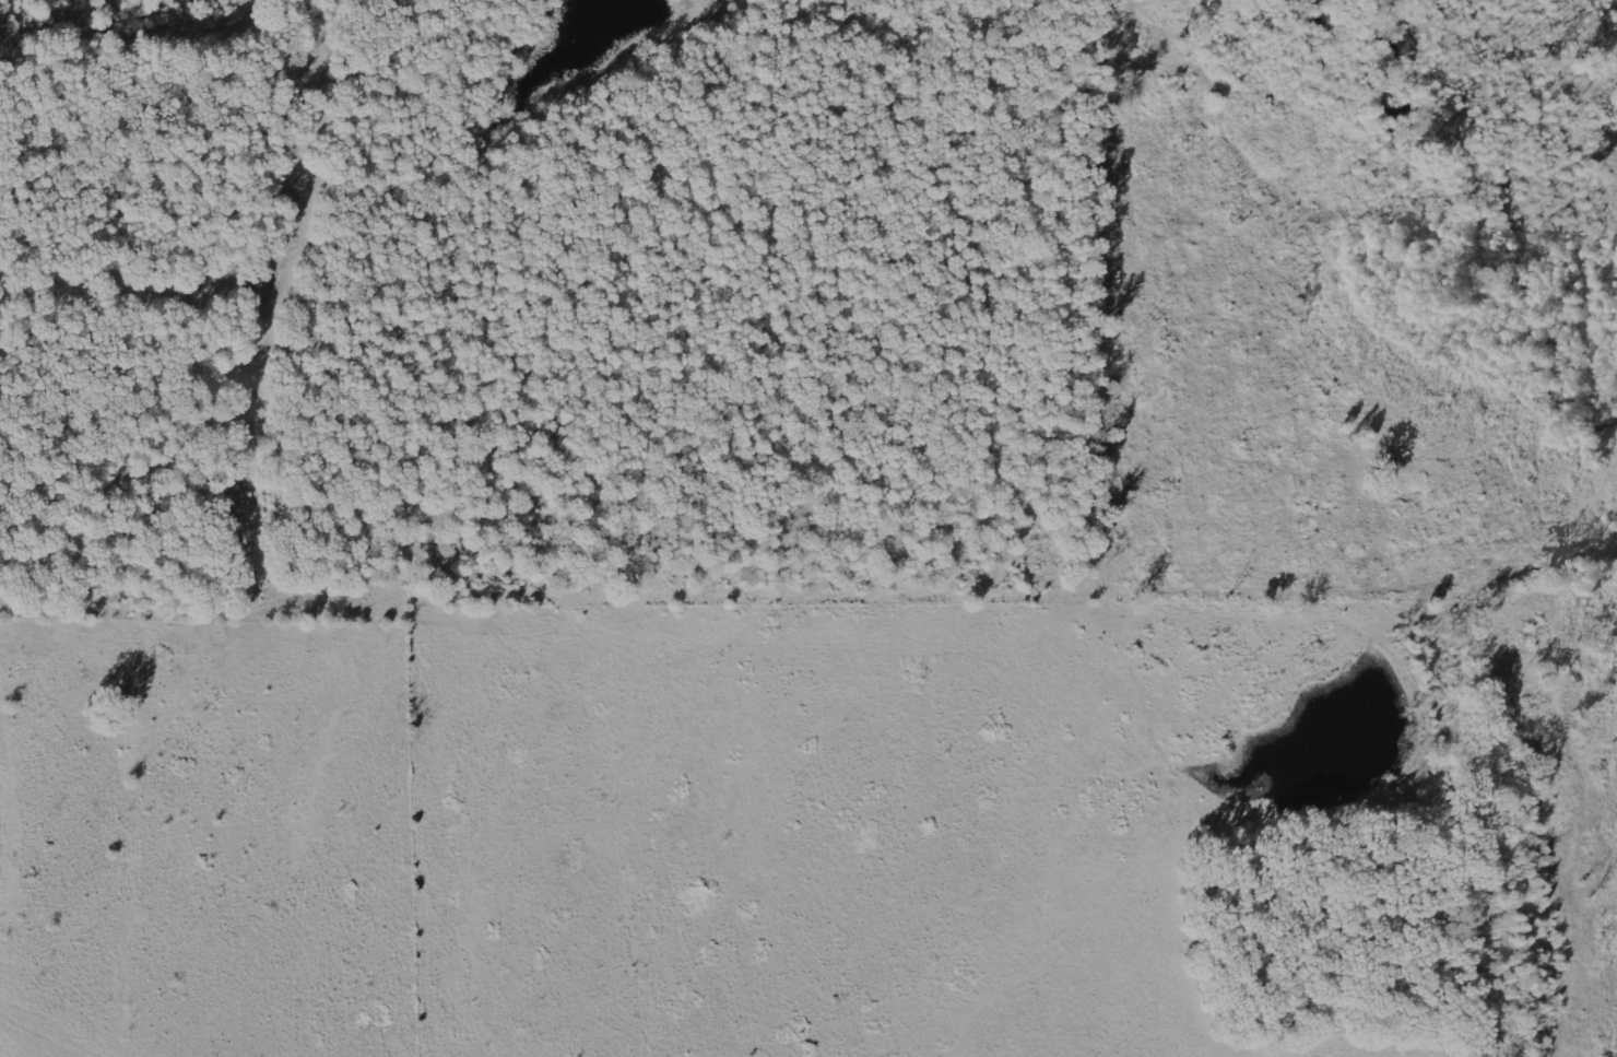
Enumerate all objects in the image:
road: (111, 283)

